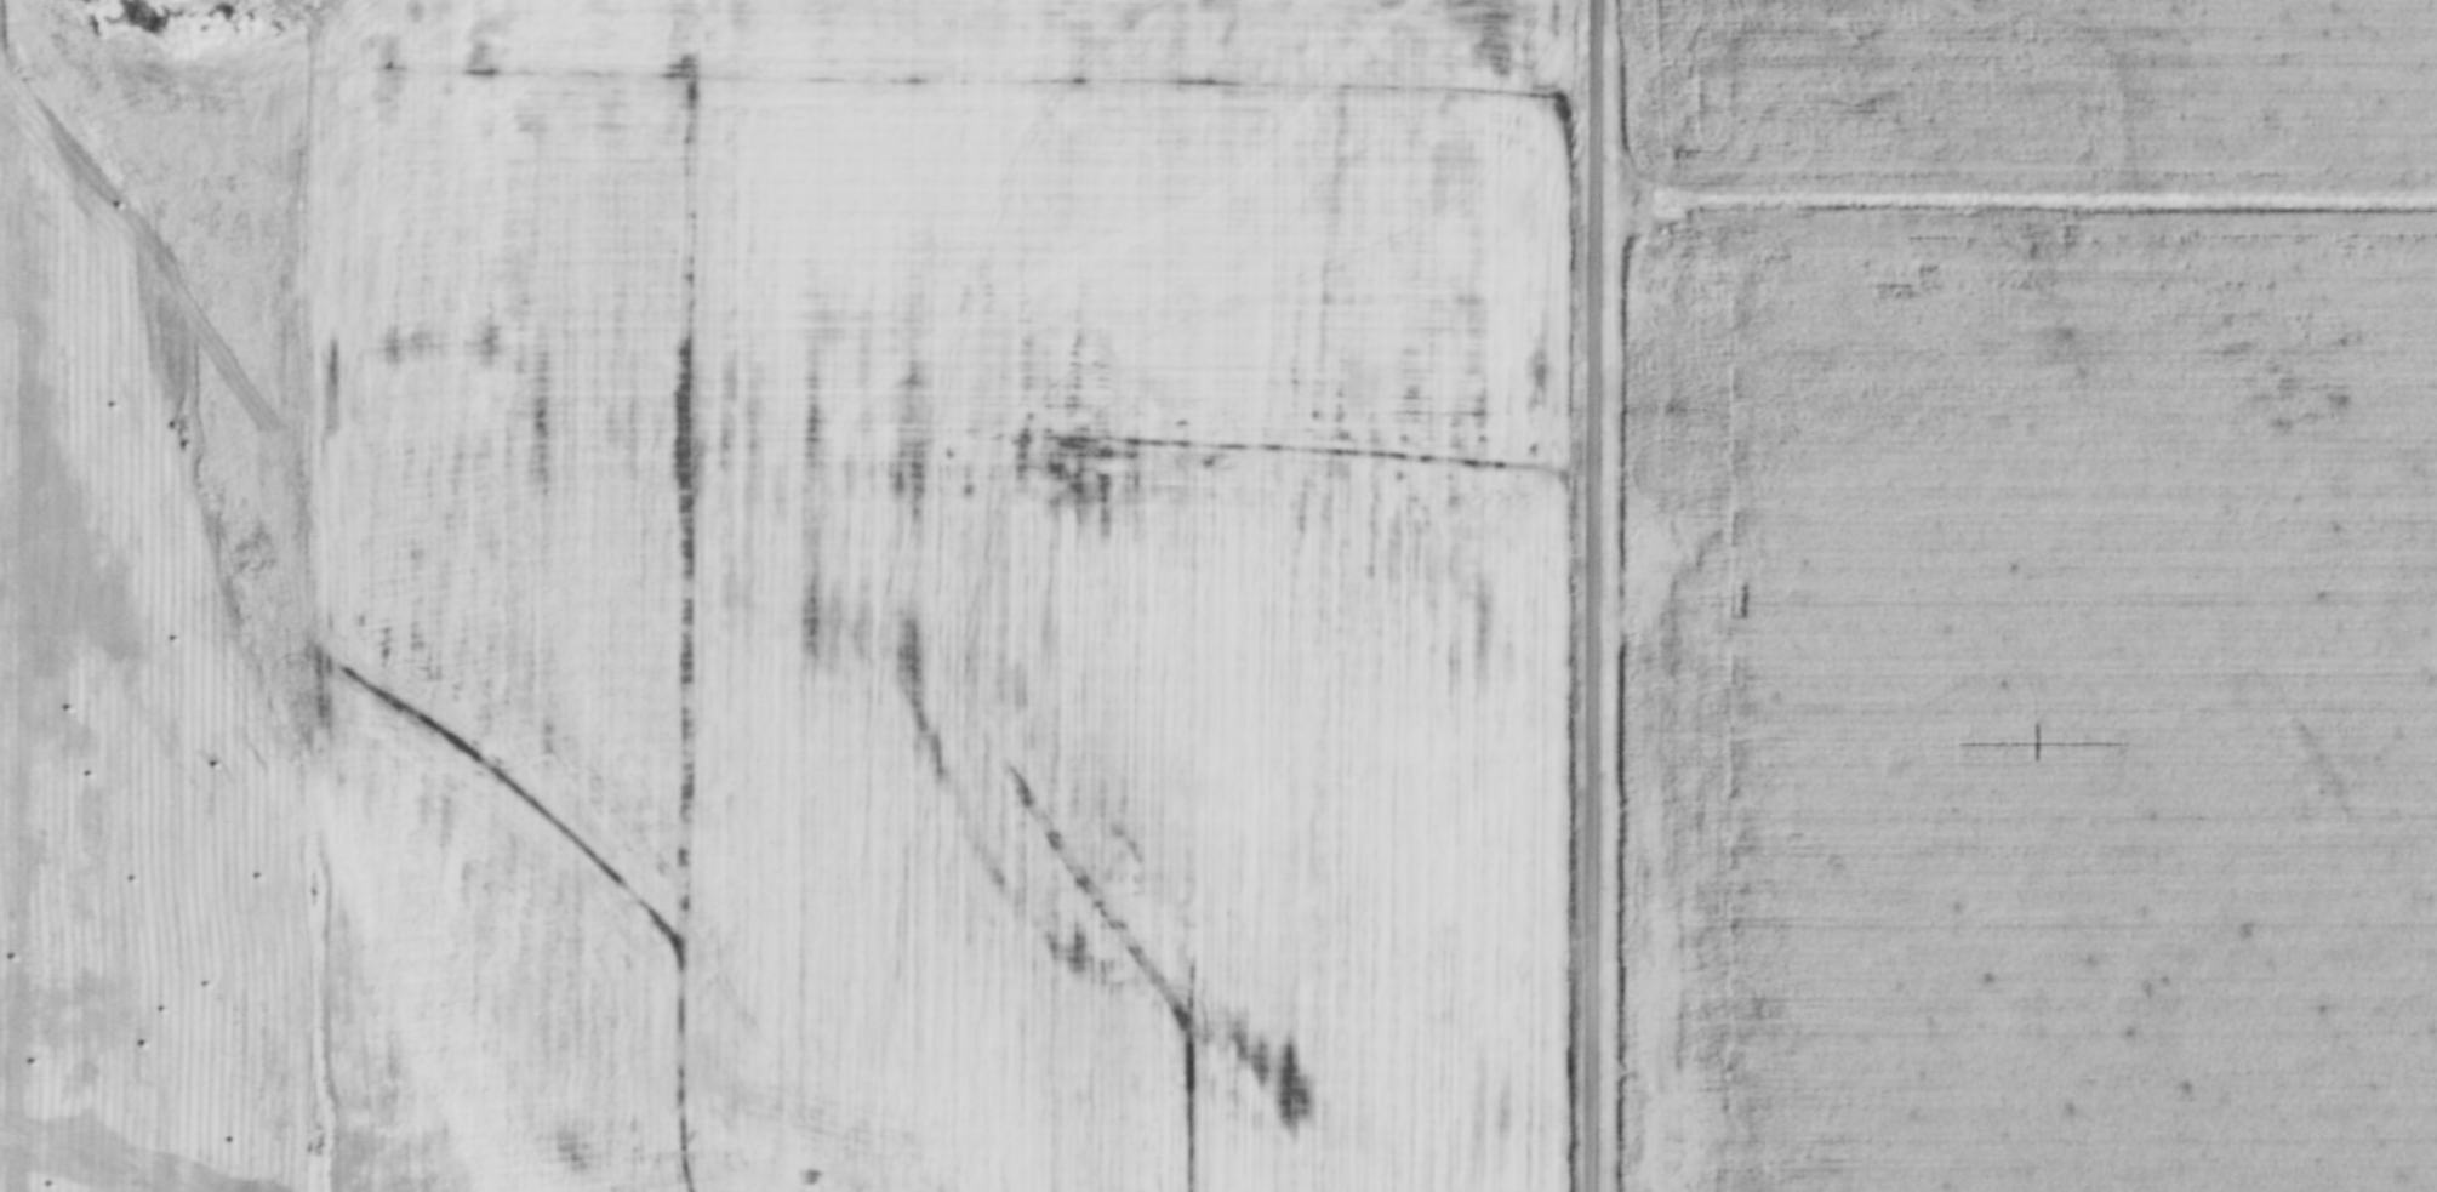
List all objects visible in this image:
road: (1600, 595)

